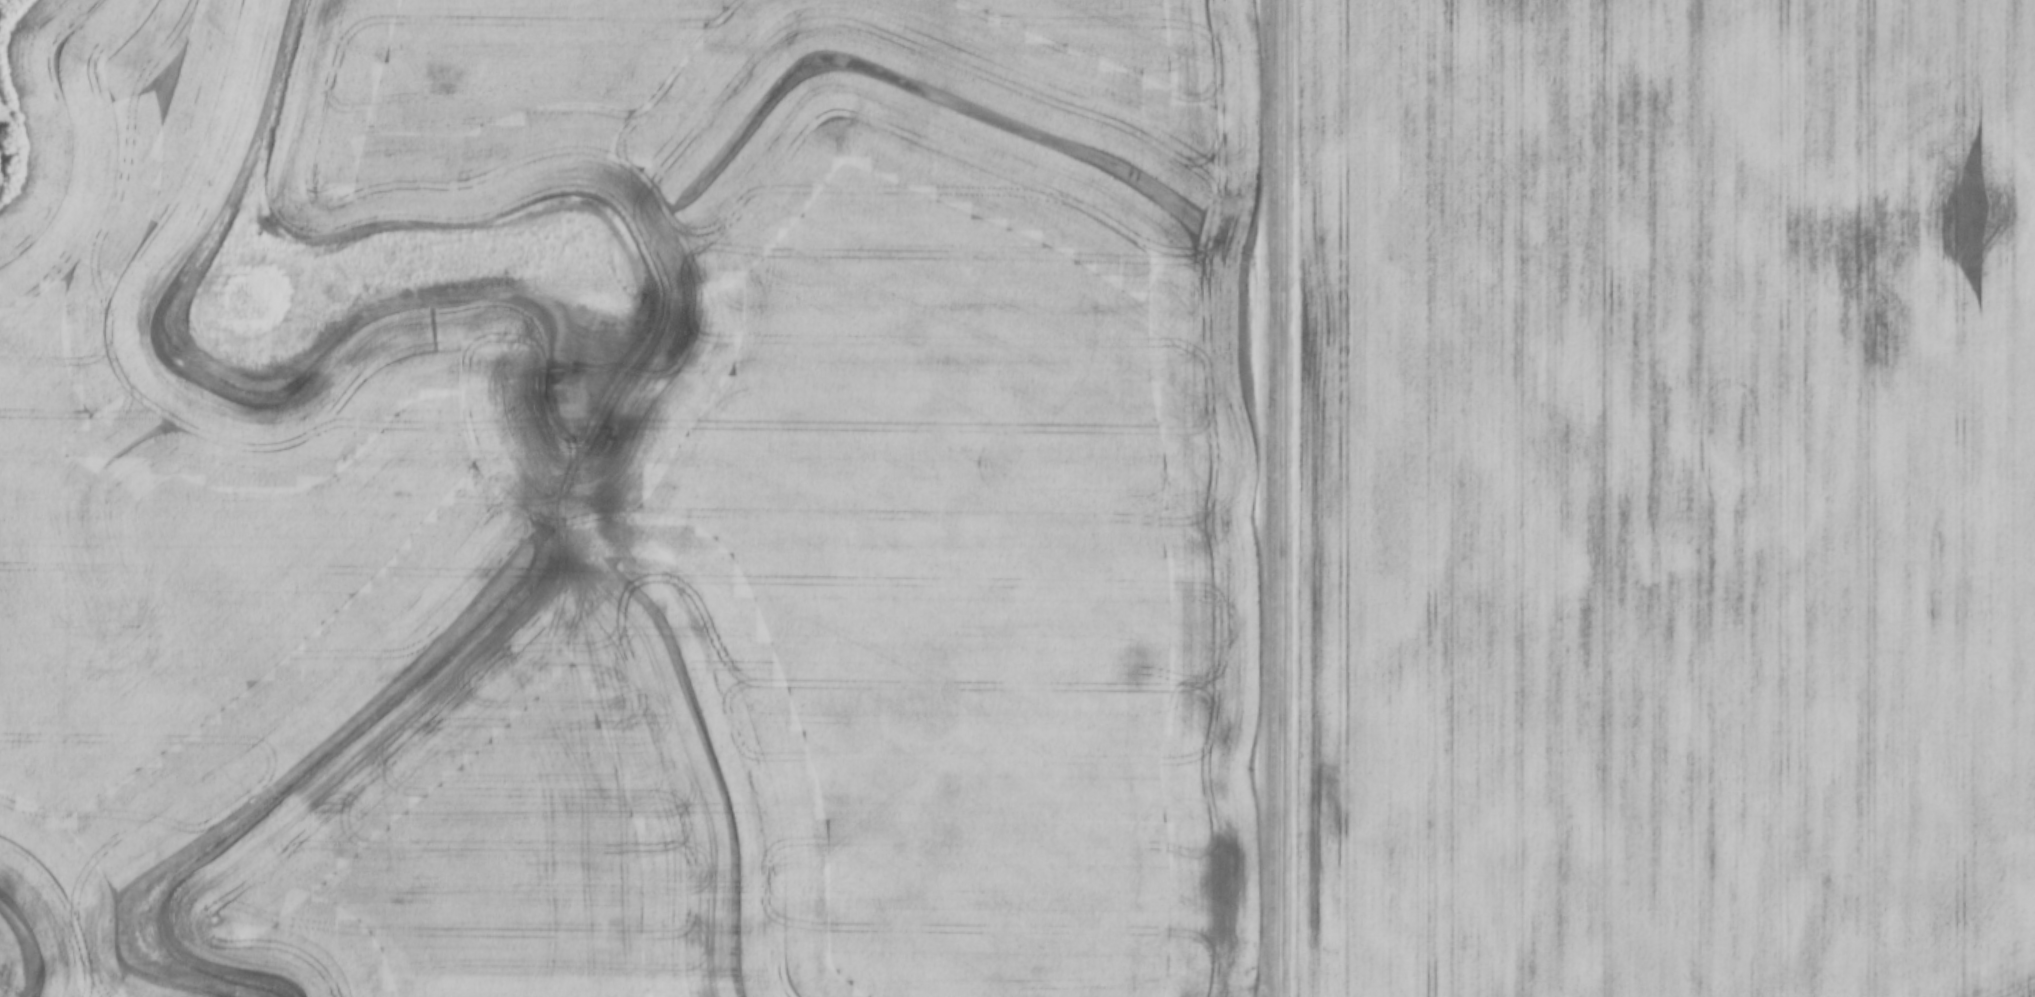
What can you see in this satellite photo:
road: (1285, 498)

